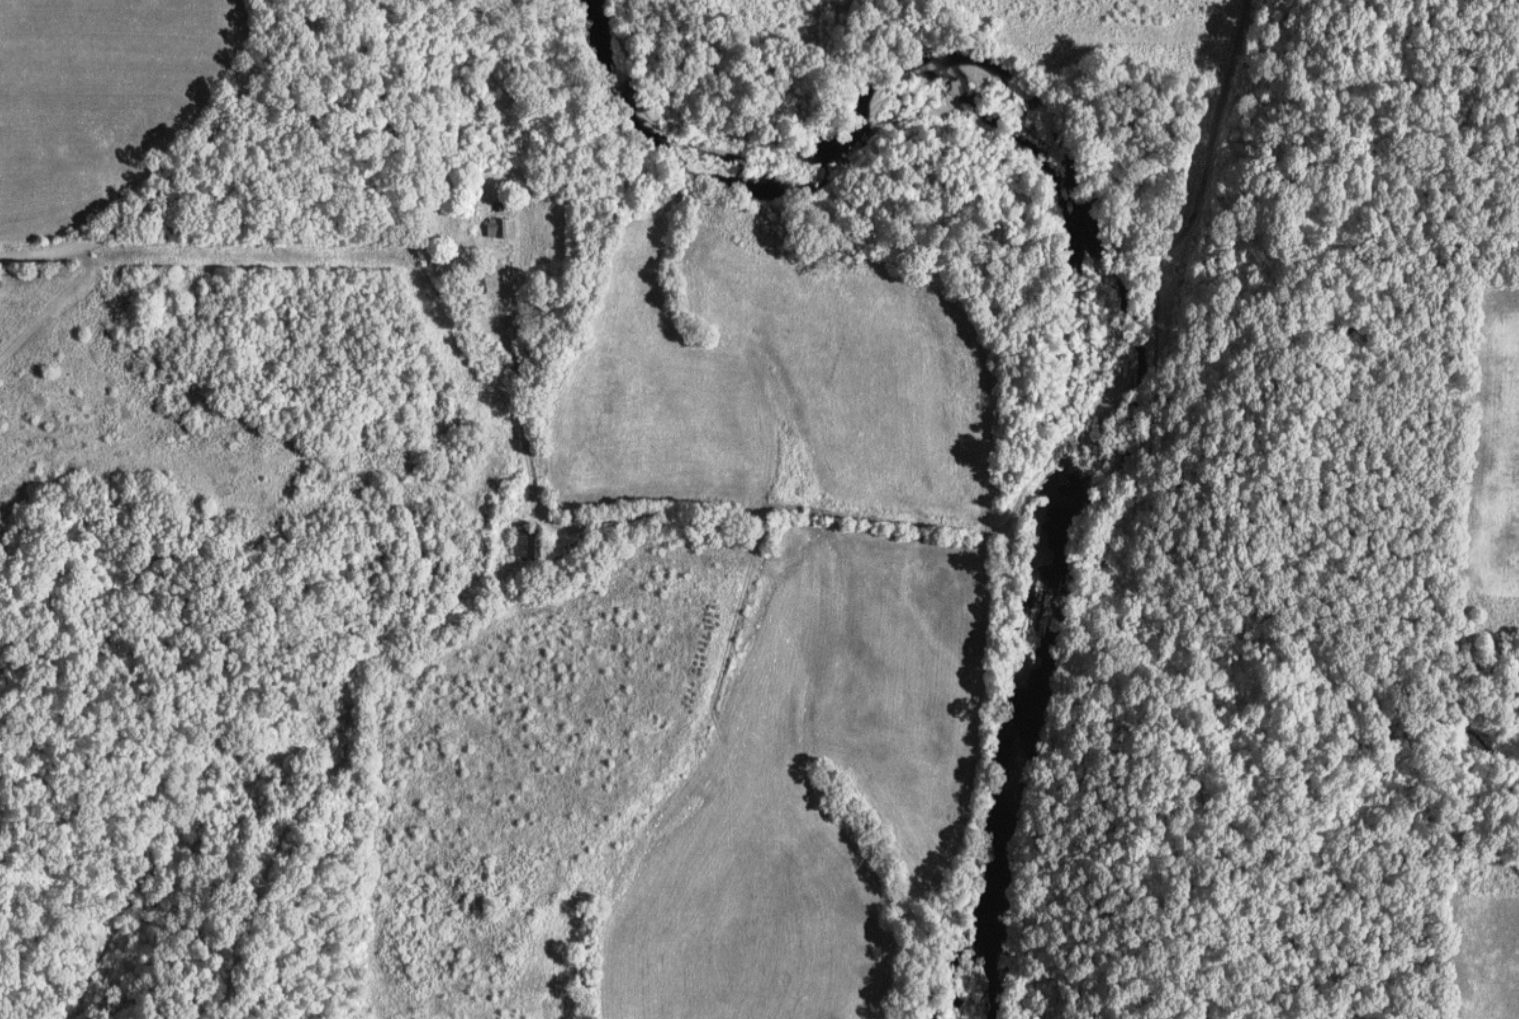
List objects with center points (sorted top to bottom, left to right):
road: (270, 52)
building: (501, 227)
road: (534, 464)

